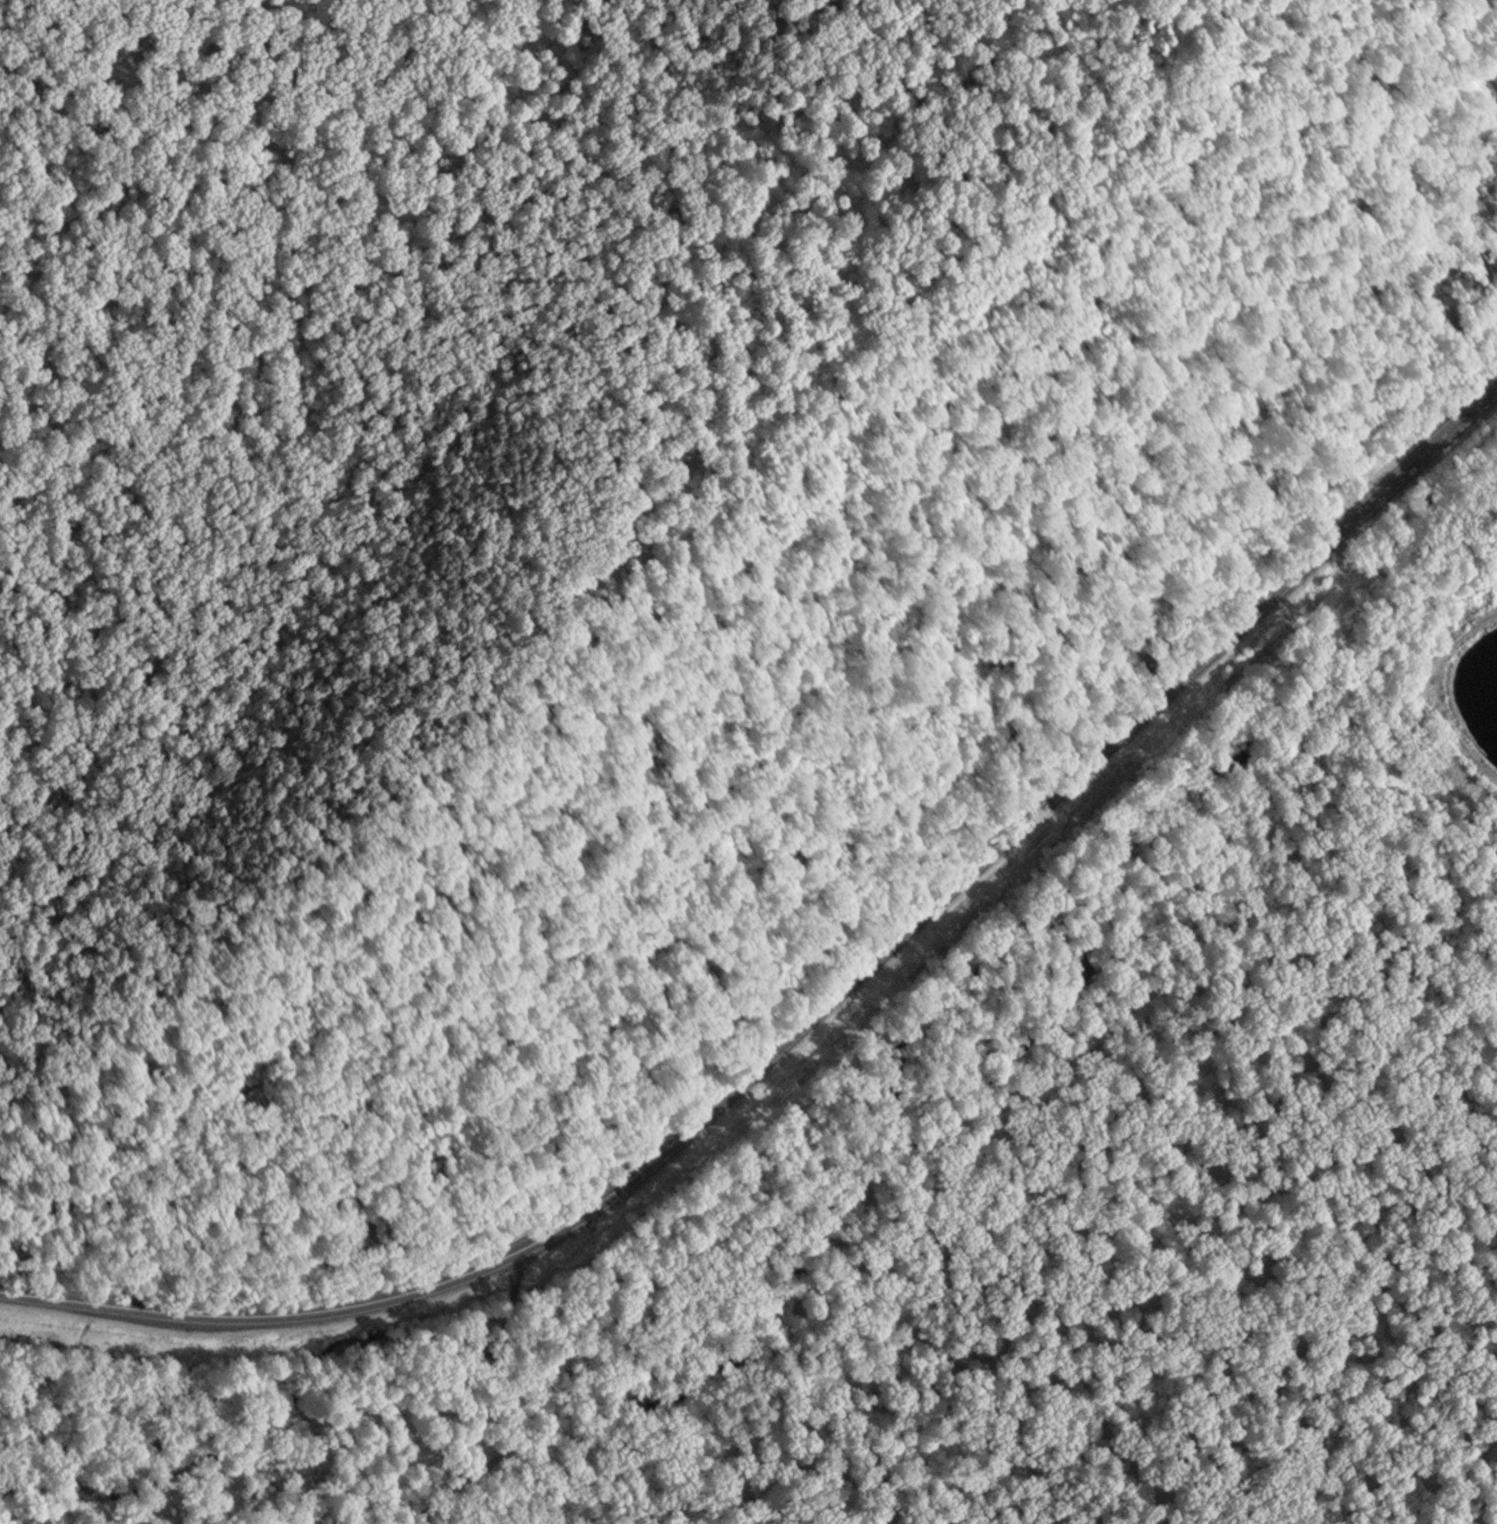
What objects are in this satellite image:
road: (820, 1012)

